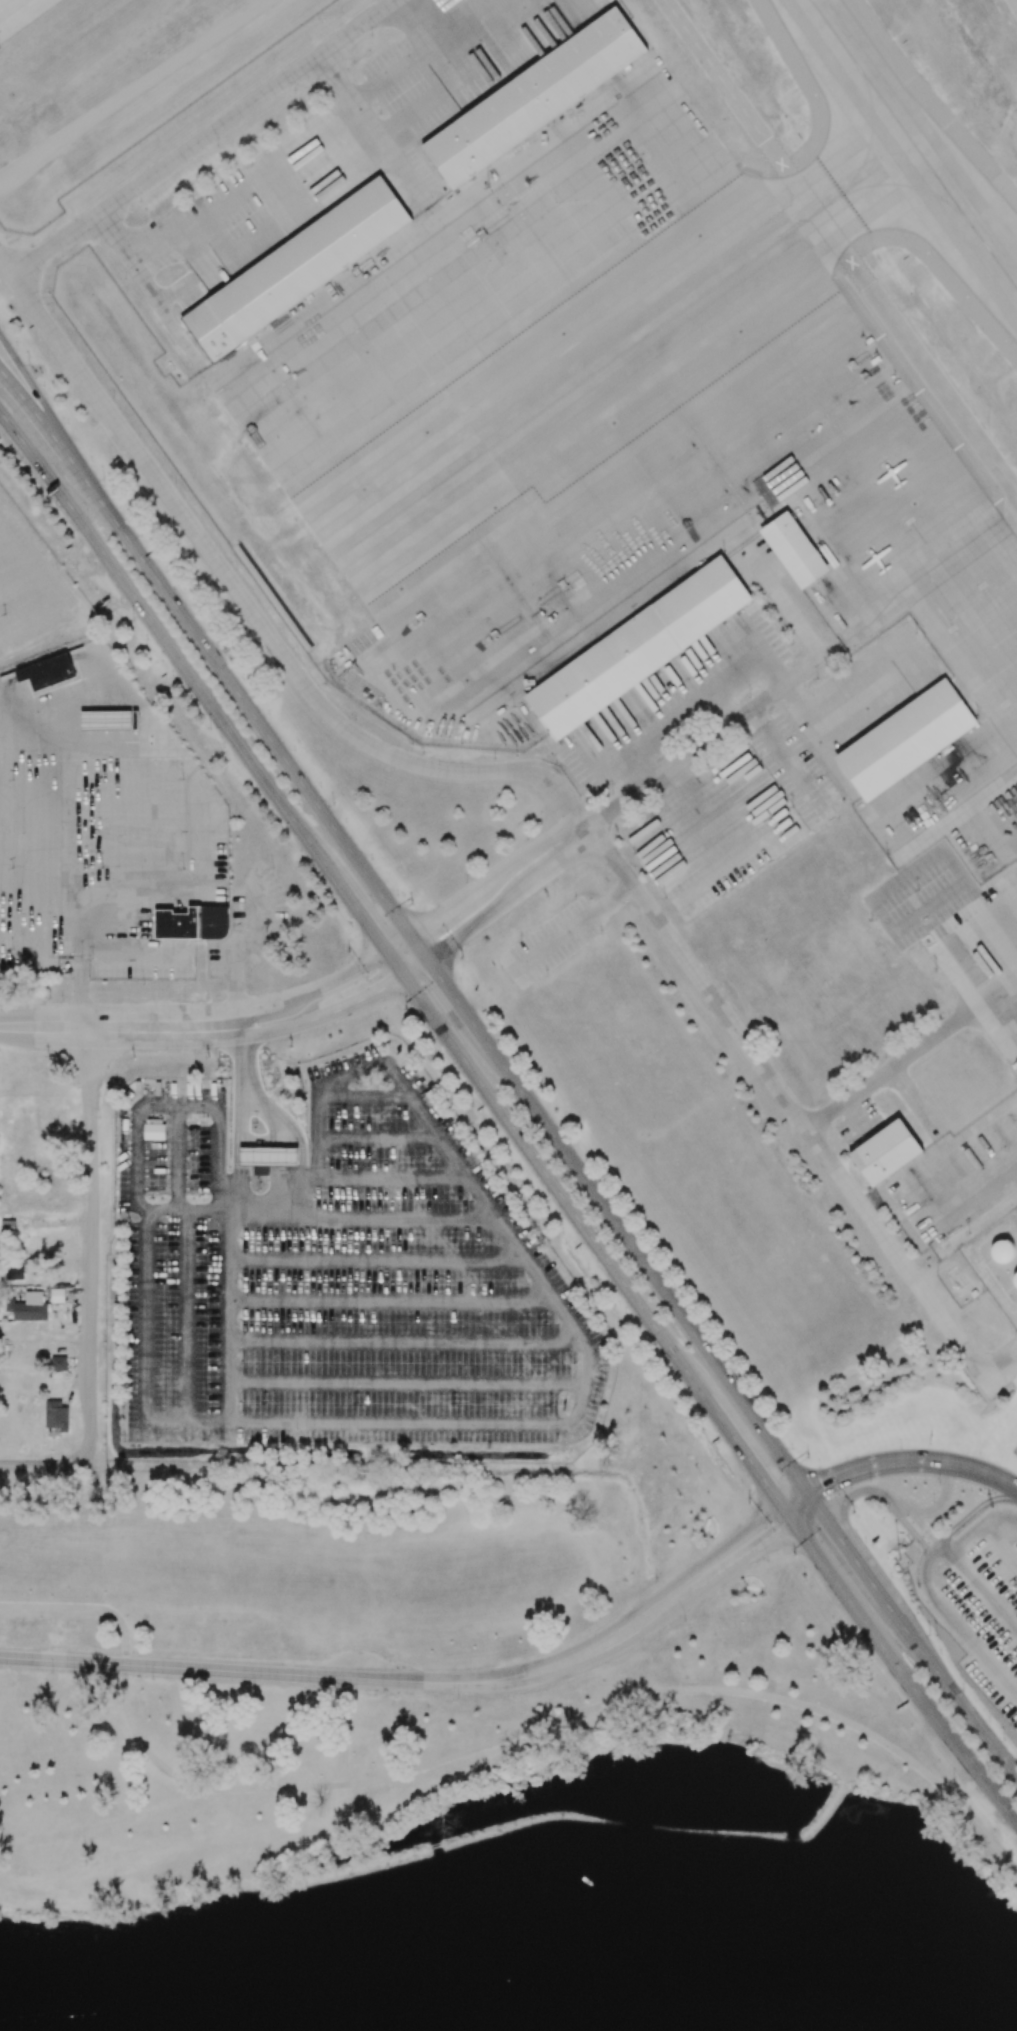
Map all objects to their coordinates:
airport apron: (19, 13)
road: (547, 17)
road: (464, 79)
building: (532, 99)
road: (372, 130)
airport taxiway: (871, 131)
road: (314, 134)
road: (205, 136)
airport taxiway: (914, 143)
road: (841, 246)
airport taxiway: (1006, 262)
building: (295, 270)
road: (153, 299)
airport taxiway: (656, 310)
street lamp: (29, 364)
road: (13, 394)
road: (42, 408)
airport apron: (618, 416)
road: (42, 424)
road: (29, 453)
street lamp: (102, 479)
street lamp: (56, 514)
road: (5, 543)
building: (794, 550)
road: (16, 582)
street lamp: (178, 588)
parking lot: (26, 590)
road: (46, 592)
airport: (630, 594)
street lamp: (132, 620)
street lamp: (794, 641)
building: (638, 648)
road: (832, 652)
building: (46, 672)
road: (190, 675)
street lamp: (255, 695)
street lamp: (749, 697)
road: (246, 707)
building: (109, 720)
street lamp: (209, 729)
street lamp: (690, 739)
building: (905, 739)
road: (702, 743)
street lamp: (494, 759)
street lamp: (554, 762)
road: (521, 770)
street lamp: (611, 793)
street lamp: (332, 805)
street lamp: (286, 837)
street lamp: (526, 838)
road: (77, 841)
street lamp: (633, 853)
road: (493, 876)
street lamp: (465, 881)
road: (197, 890)
road: (39, 894)
road: (511, 898)
street lamp: (665, 898)
road: (612, 899)
street lamp: (410, 903)
road: (353, 905)
building: (192, 923)
traffic signals: (429, 923)
street lamp: (350, 926)
traffic signals: (370, 930)
parking lot: (550, 943)
road: (551, 943)
road: (398, 945)
road: (244, 947)
road: (418, 947)
road: (130, 949)
street lamp: (347, 952)
street lamp: (460, 959)
road: (1003, 959)
road: (394, 964)
road: (414, 966)
road: (341, 977)
traffic signals: (439, 977)
street lamp: (459, 982)
street lamp: (143, 984)
traffic signals: (383, 988)
road: (1016, 990)
road: (362, 998)
street lamp: (207, 999)
road: (264, 1005)
road: (459, 1005)
street lamp: (404, 1011)
road: (16, 1026)
road: (61, 1027)
road: (164, 1027)
road: (279, 1029)
road: (241, 1050)
road: (910, 1057)
street lamp: (132, 1059)
road: (365, 1096)
road: (256, 1098)
road: (240, 1102)
road: (172, 1105)
road: (857, 1117)
road: (275, 1122)
road: (933, 1129)
building: (154, 1131)
road: (256, 1139)
road: (380, 1140)
road: (300, 1147)
building: (884, 1152)
building: (270, 1156)
road: (178, 1158)
road: (277, 1165)
road: (287, 1169)
road: (239, 1171)
road: (394, 1179)
road: (552, 1184)
road: (971, 1193)
road: (300, 1196)
road: (326, 1215)
road: (90, 1245)
building: (1004, 1251)
road: (376, 1257)
road: (649, 1272)
building: (14, 1273)
parking lot: (340, 1279)
building: (1015, 1280)
road: (390, 1299)
building: (31, 1307)
road: (184, 1318)
road: (228, 1318)
road: (405, 1342)
building: (58, 1363)
road: (1001, 1368)
road: (406, 1381)
street lamp: (754, 1392)
building: (56, 1417)
road: (552, 1424)
street lamp: (704, 1428)
street lamp: (901, 1447)
road: (742, 1450)
street lamp: (804, 1457)
road: (887, 1463)
road: (46, 1464)
street lamp: (818, 1467)
street lamp: (79, 1473)
road: (995, 1477)
street lamp: (869, 1481)
street lamp: (938, 1483)
traffic signals: (822, 1484)
traffic signals: (769, 1489)
road: (856, 1492)
road: (795, 1499)
road: (942, 1500)
street lamp: (933, 1501)
street lamp: (749, 1502)
road: (813, 1502)
street lamp: (854, 1511)
street lamp: (888, 1513)
road: (969, 1515)
road: (789, 1516)
road: (808, 1519)
road: (917, 1519)
road: (980, 1525)
traffic signals: (832, 1527)
road: (909, 1528)
traffic signals: (778, 1537)
road: (999, 1545)
road: (942, 1546)
road: (939, 1552)
street lamp: (795, 1555)
road: (743, 1562)
street lamp: (767, 1562)
road: (859, 1565)
road: (923, 1573)
street lamp: (655, 1580)
road: (981, 1591)
road: (85, 1608)
road: (635, 1614)
parking lot: (987, 1615)
street lamp: (684, 1621)
street lamp: (929, 1634)
street lamp: (936, 1635)
street lamp: (561, 1641)
road: (974, 1645)
road: (922, 1652)
road: (587, 1663)
road: (233, 1672)
street lamp: (52, 1673)
street lamp: (872, 1673)
road: (903, 1675)
street lamp: (152, 1679)
street lamp: (254, 1685)
street lamp: (348, 1691)
street lamp: (457, 1697)
road: (981, 1731)
street lamp: (1006, 1738)
park: (452, 1743)
road: (479, 1749)
street lamp: (953, 1780)
road: (961, 1809)

